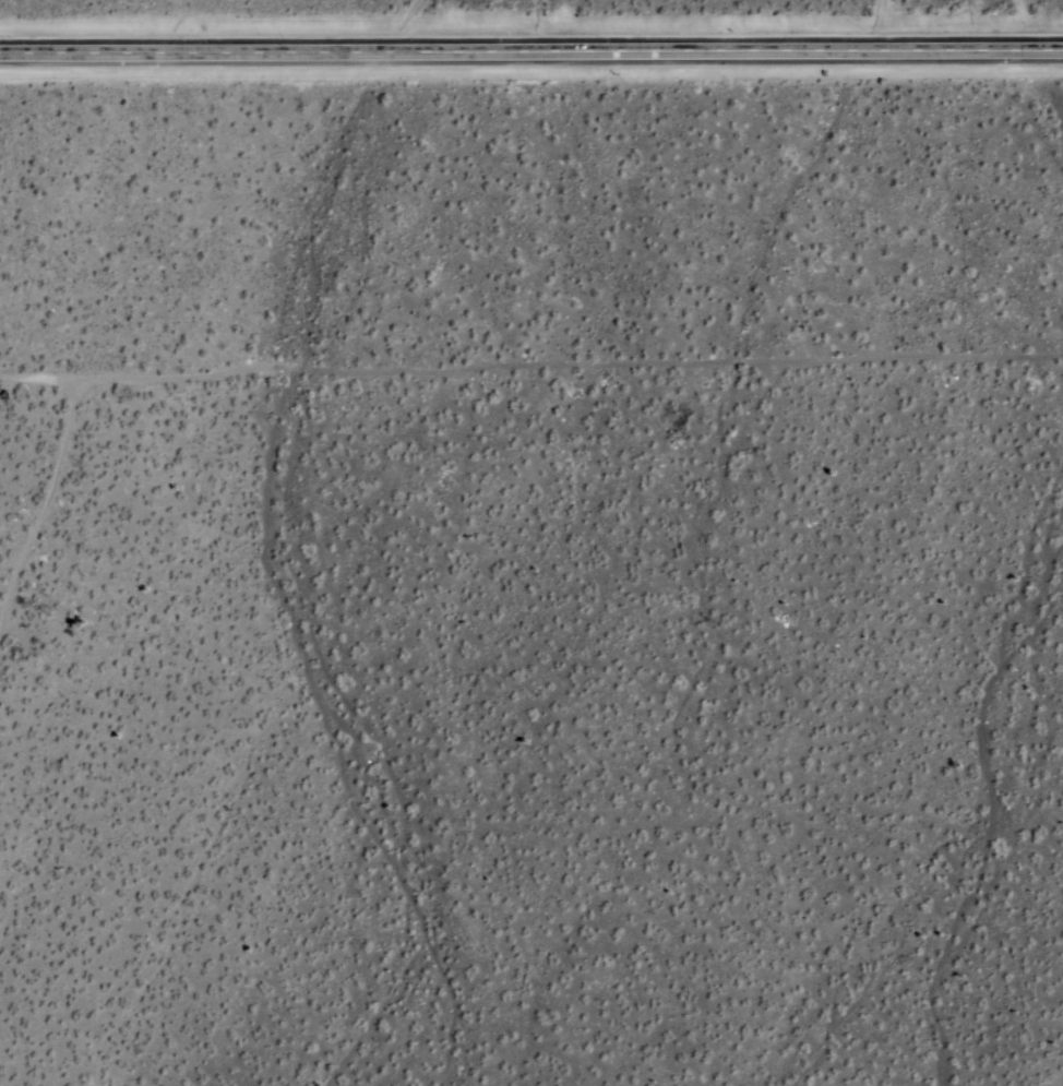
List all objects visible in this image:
road: (531, 50)

